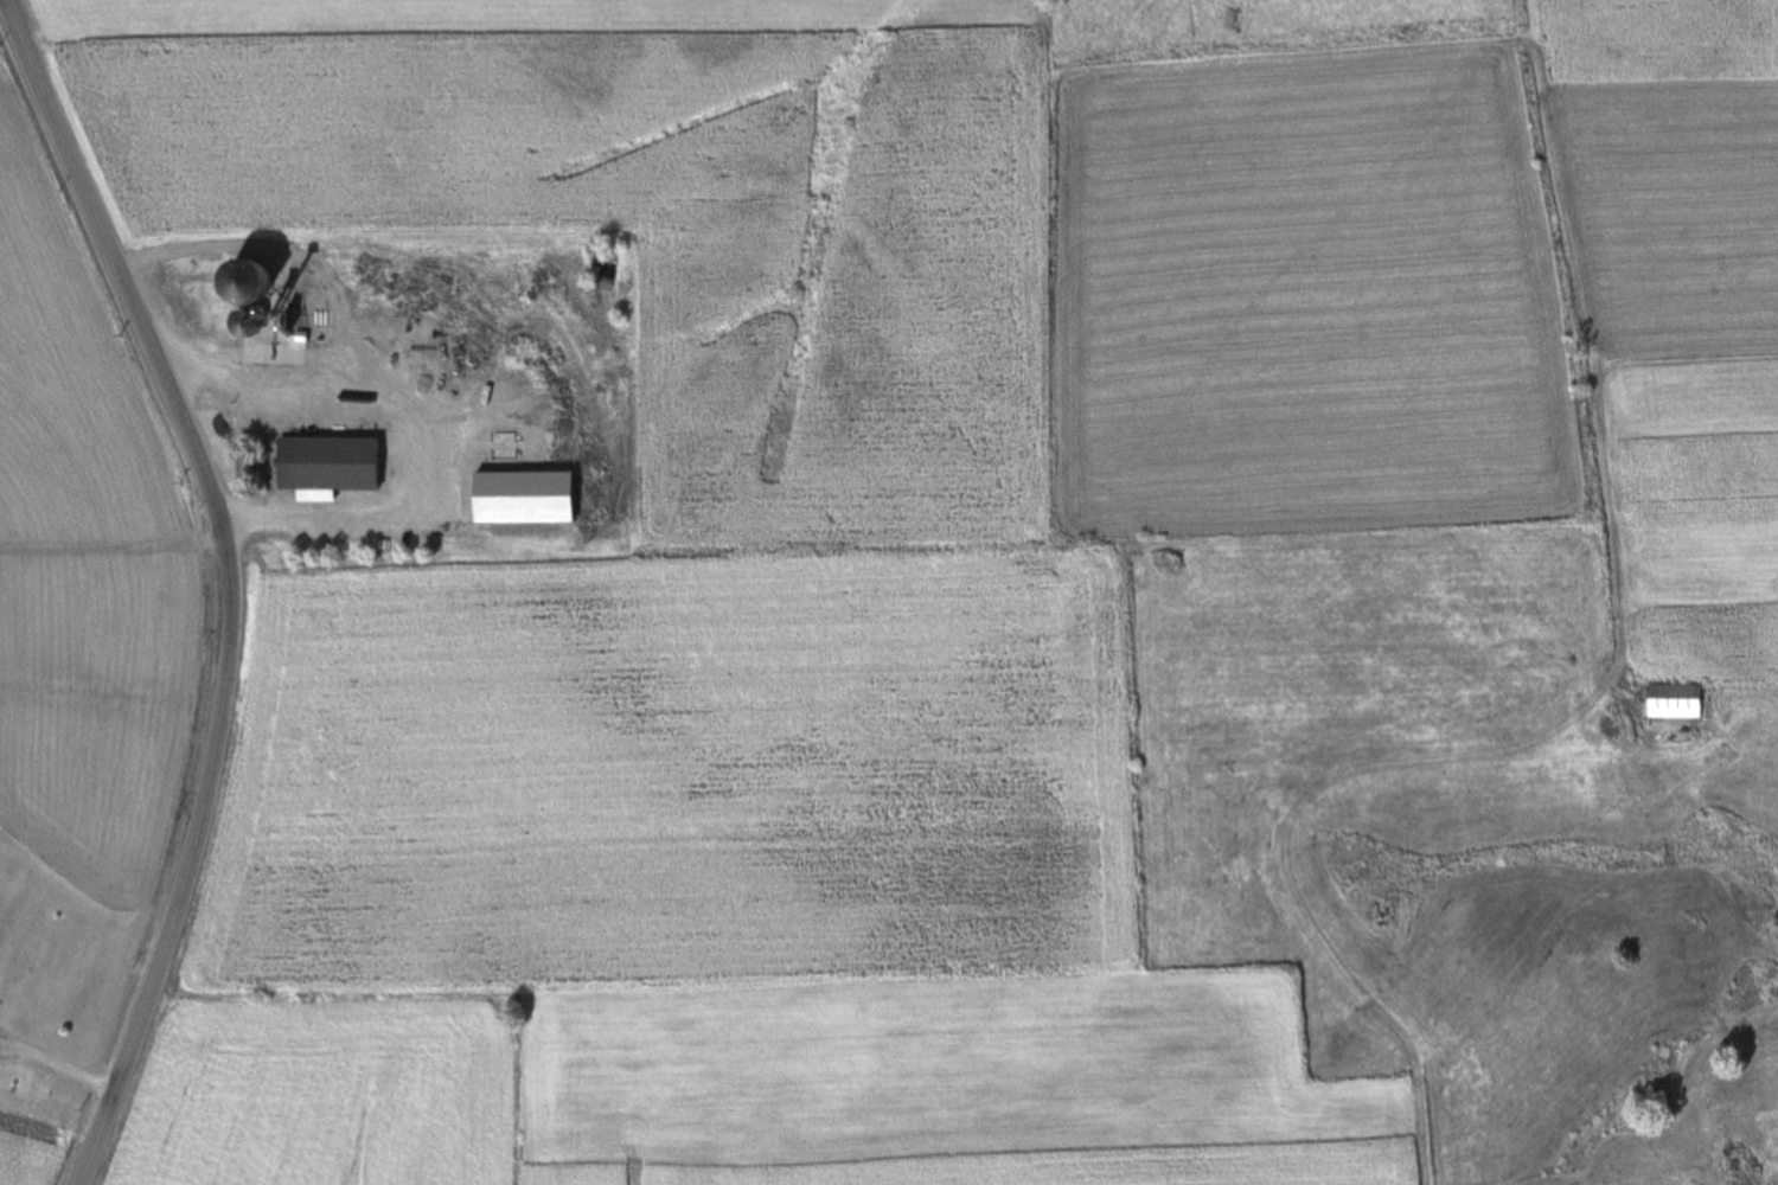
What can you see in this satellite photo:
building: (328, 465)
road: (235, 582)
building: (1675, 700)
road: (57, 1064)

